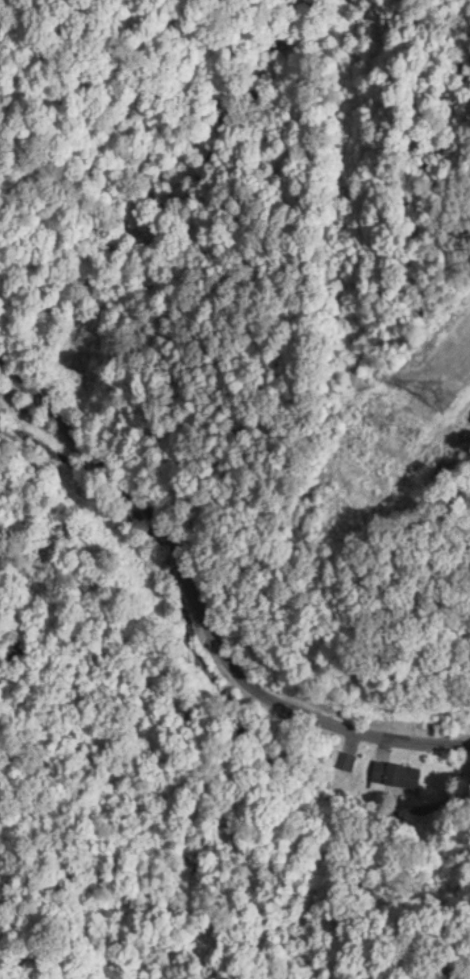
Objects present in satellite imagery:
power tower: (457, 382)
road: (202, 594)
building: (338, 755)
building: (395, 774)

